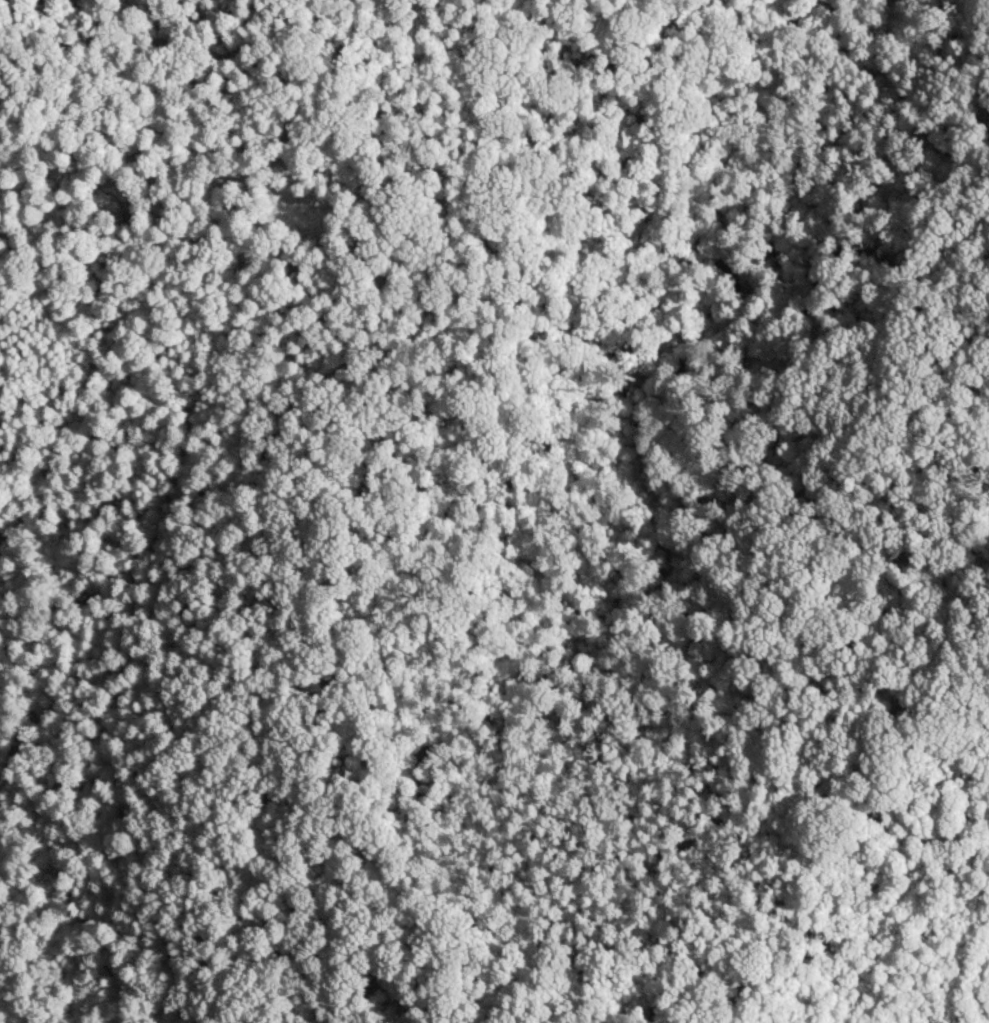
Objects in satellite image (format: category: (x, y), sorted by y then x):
road: (274, 485)

